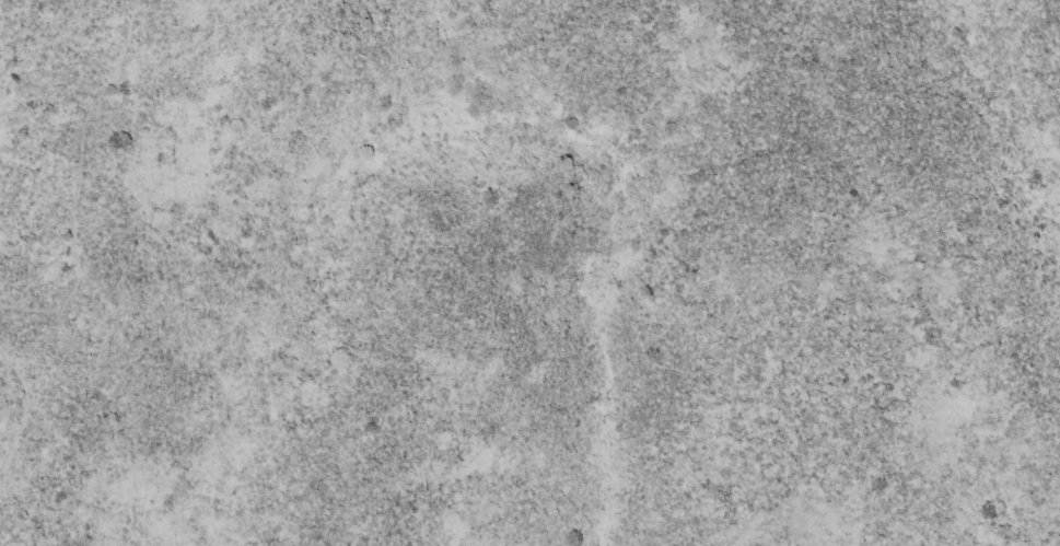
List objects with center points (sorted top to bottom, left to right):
road: (78, 179)
park: (529, 272)
road: (22, 397)

